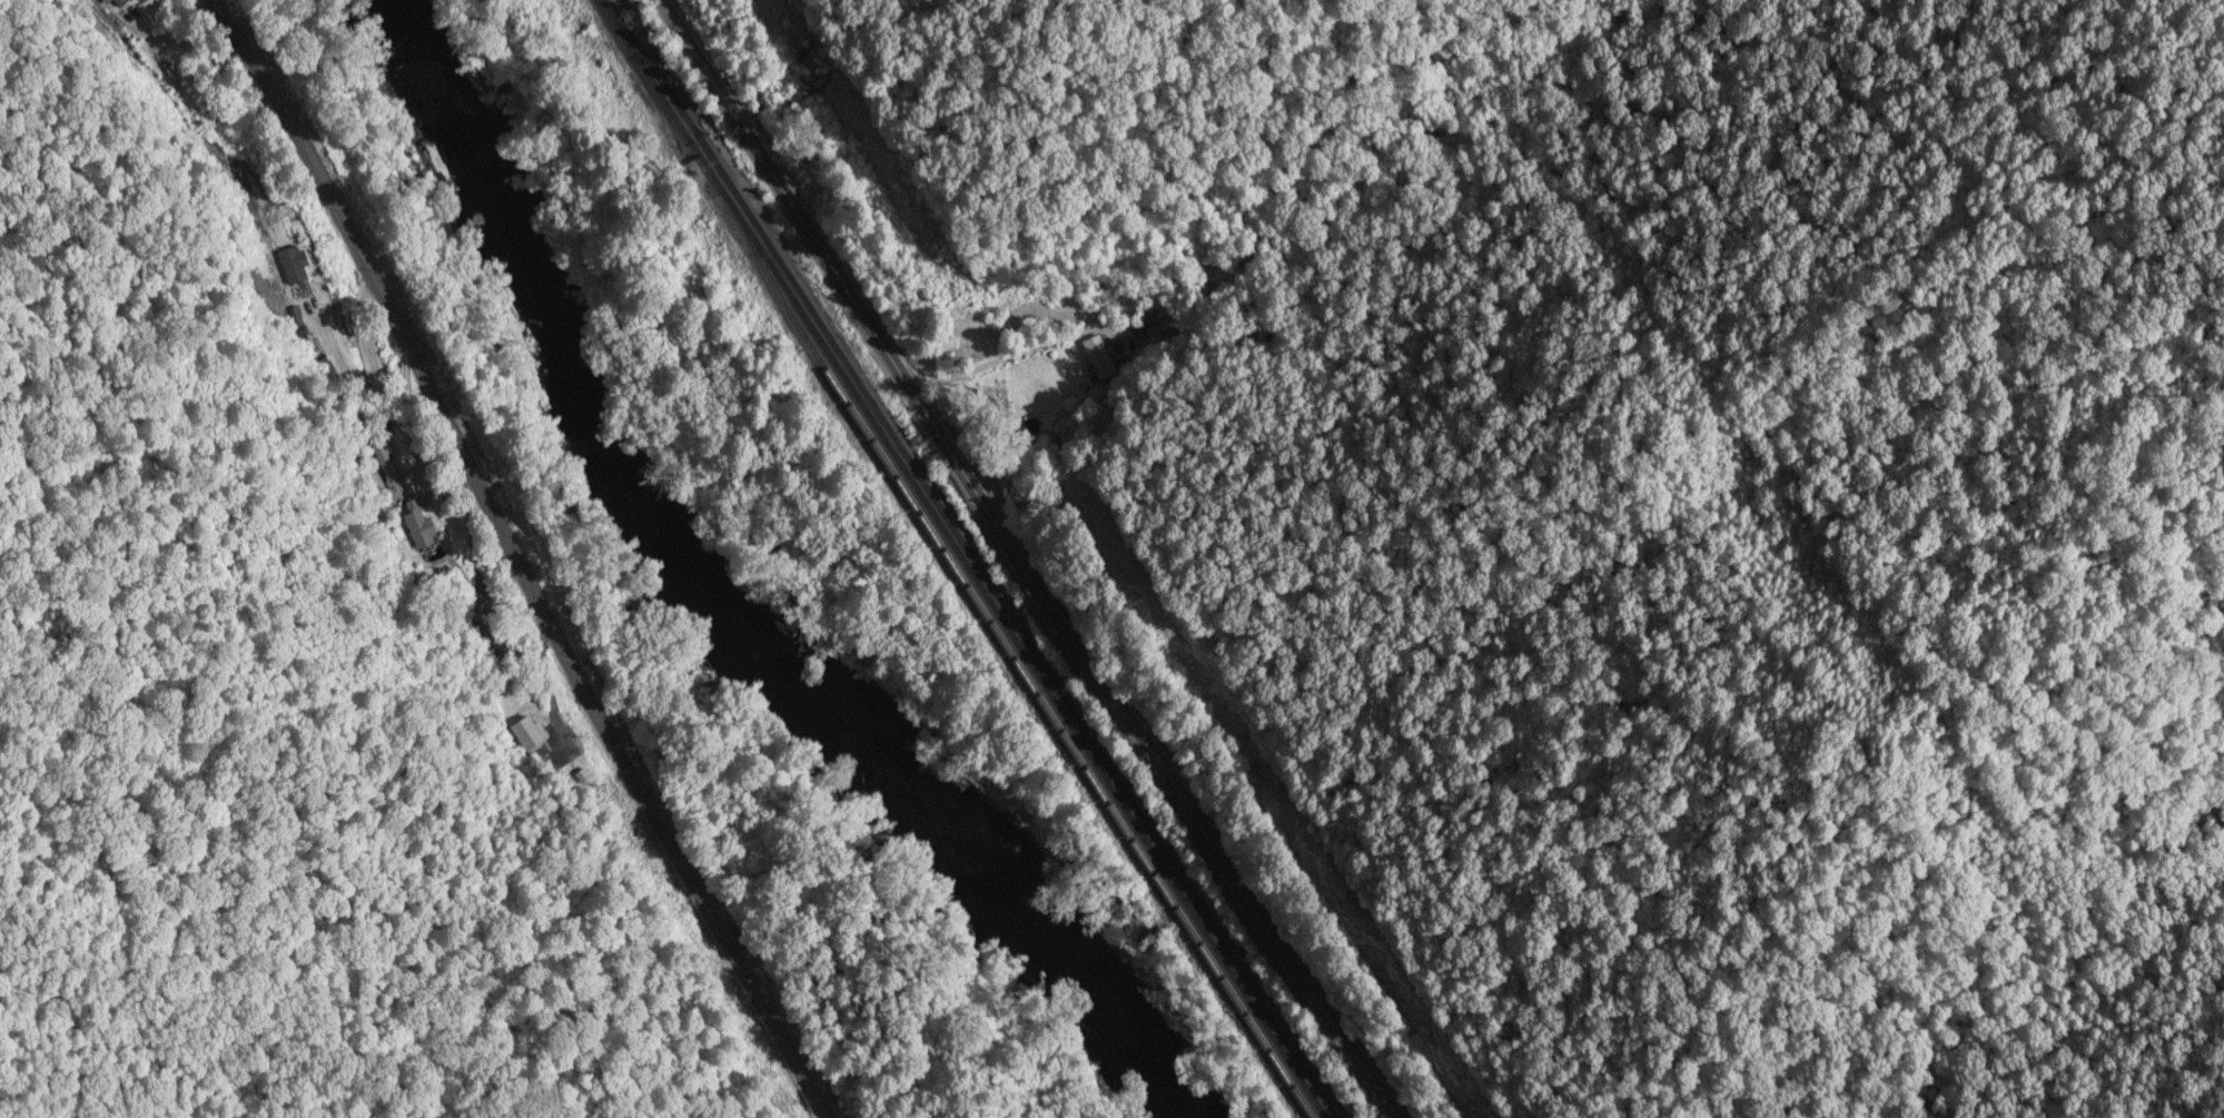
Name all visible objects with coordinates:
building: (683, 127)
building: (296, 273)
building: (1098, 358)
railway: (968, 560)
road: (510, 561)
road: (1024, 562)
river: (691, 605)
building: (550, 758)

